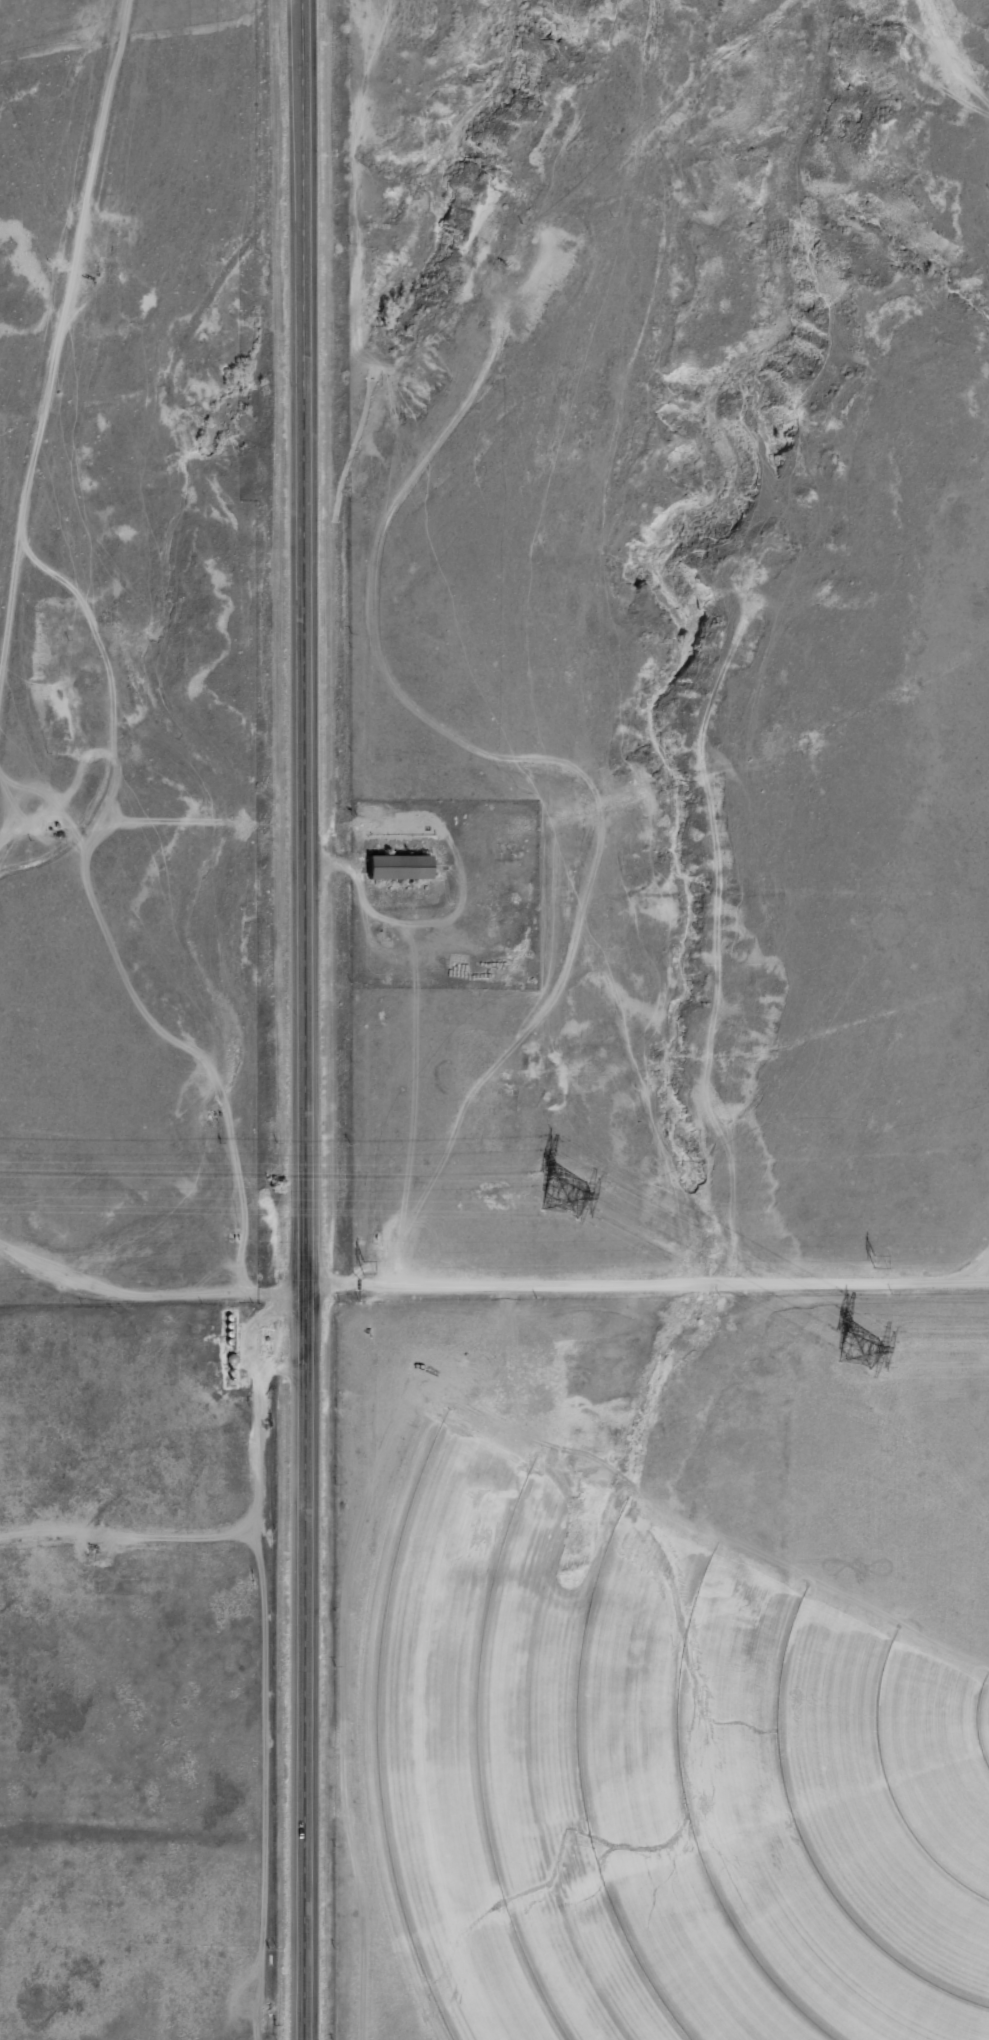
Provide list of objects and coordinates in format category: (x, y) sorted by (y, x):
building: (405, 868)
road: (304, 1020)
power tower: (562, 1196)
power tower: (875, 1262)
power tower: (362, 1267)
road: (487, 1279)
power tower: (858, 1348)

